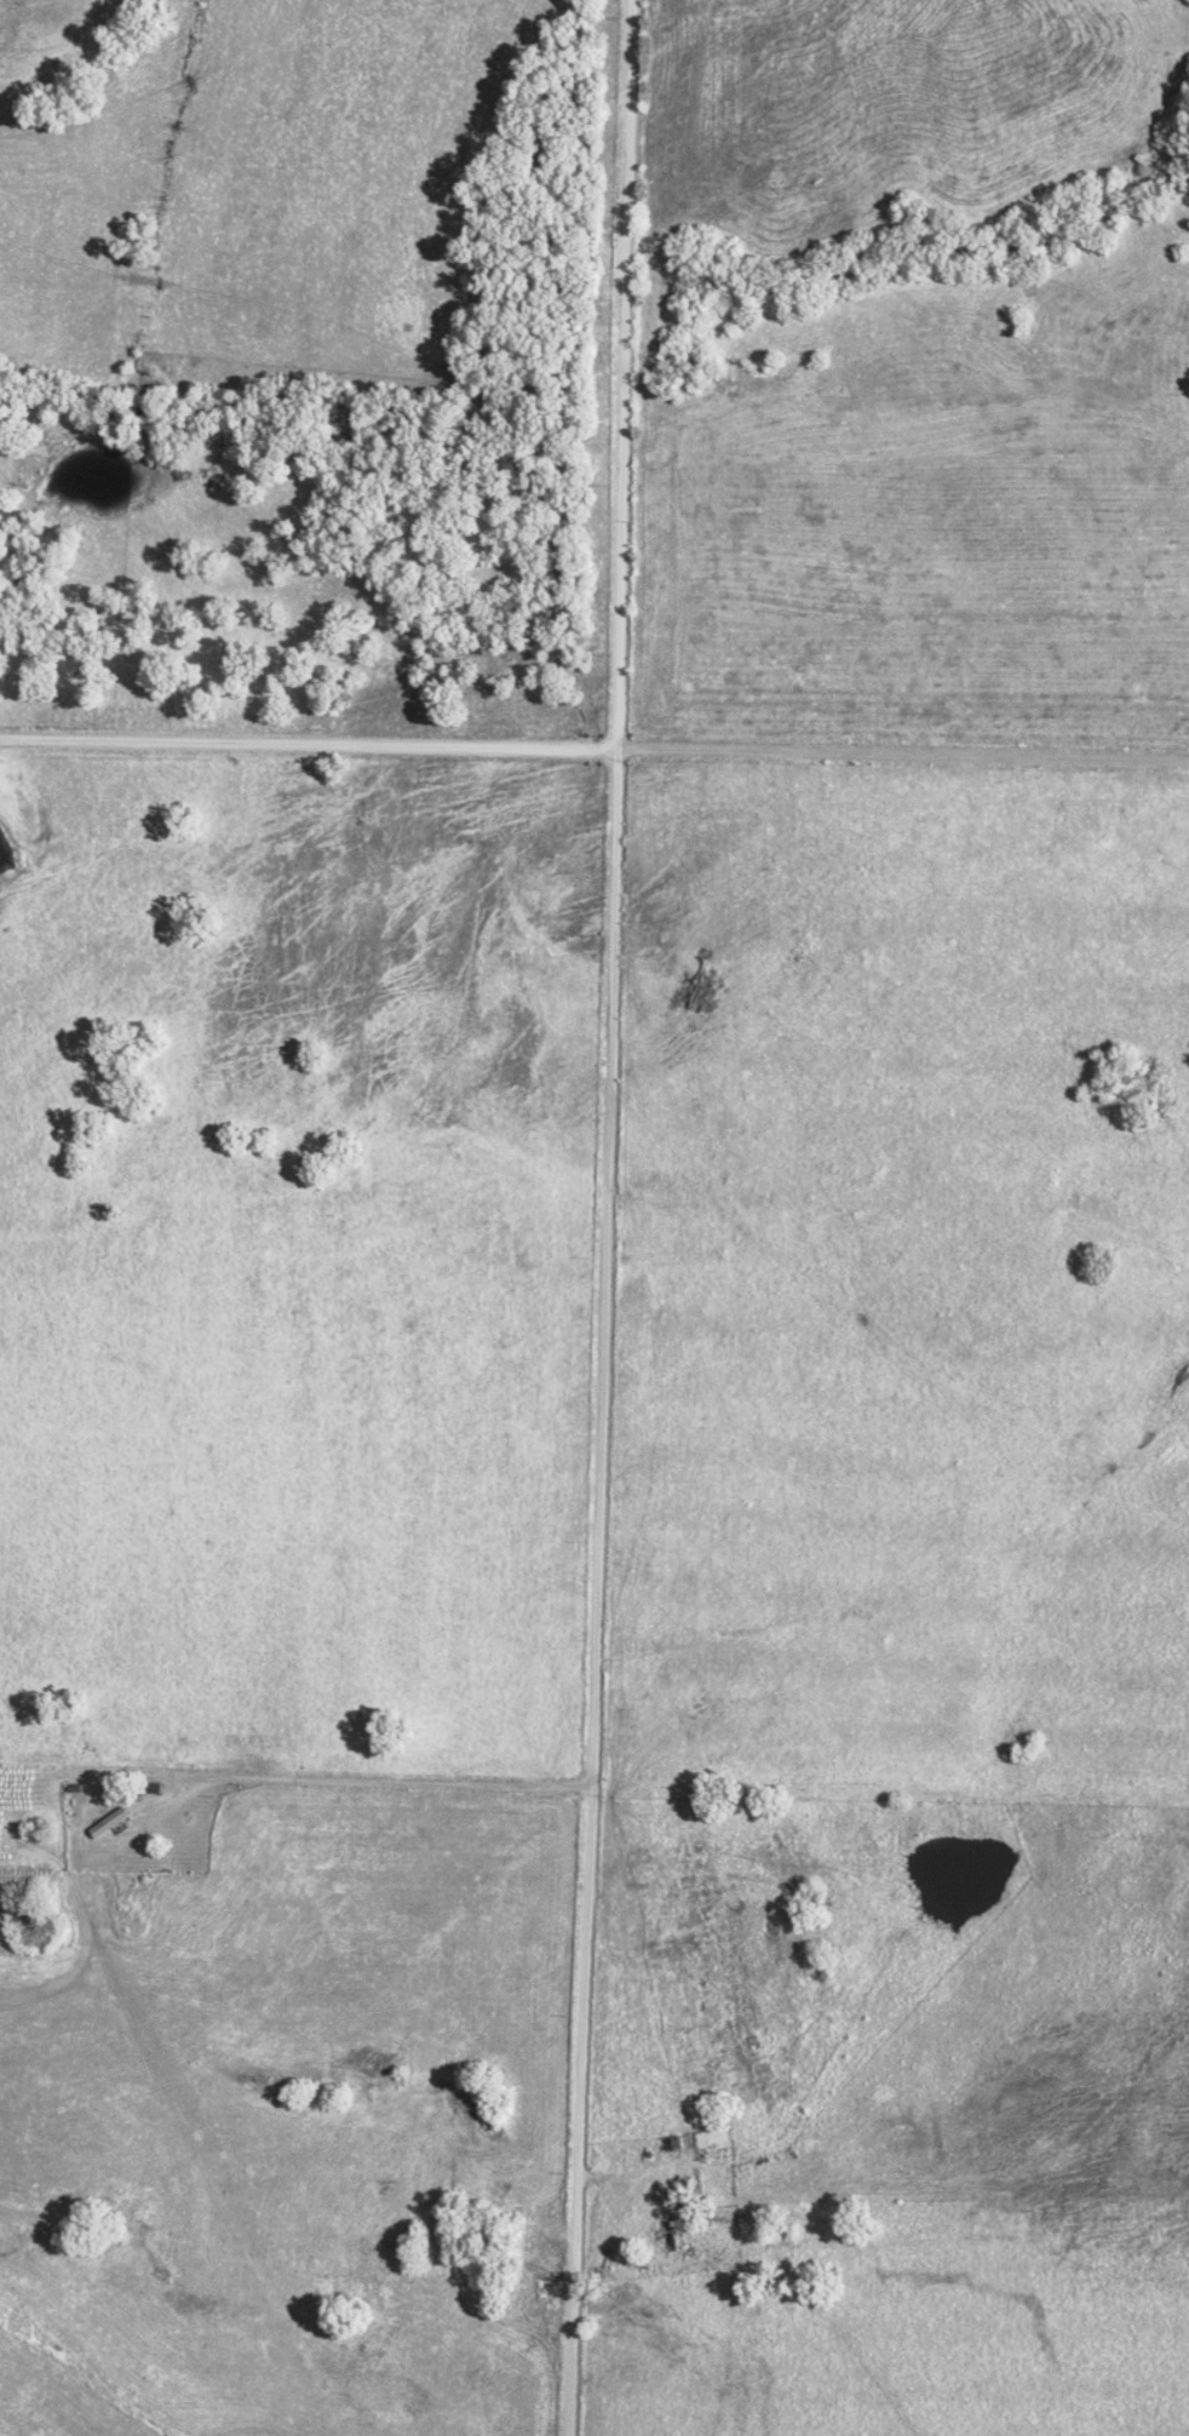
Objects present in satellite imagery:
road: (594, 745)
road: (602, 1217)
road: (364, 1776)
building: (119, 1818)

